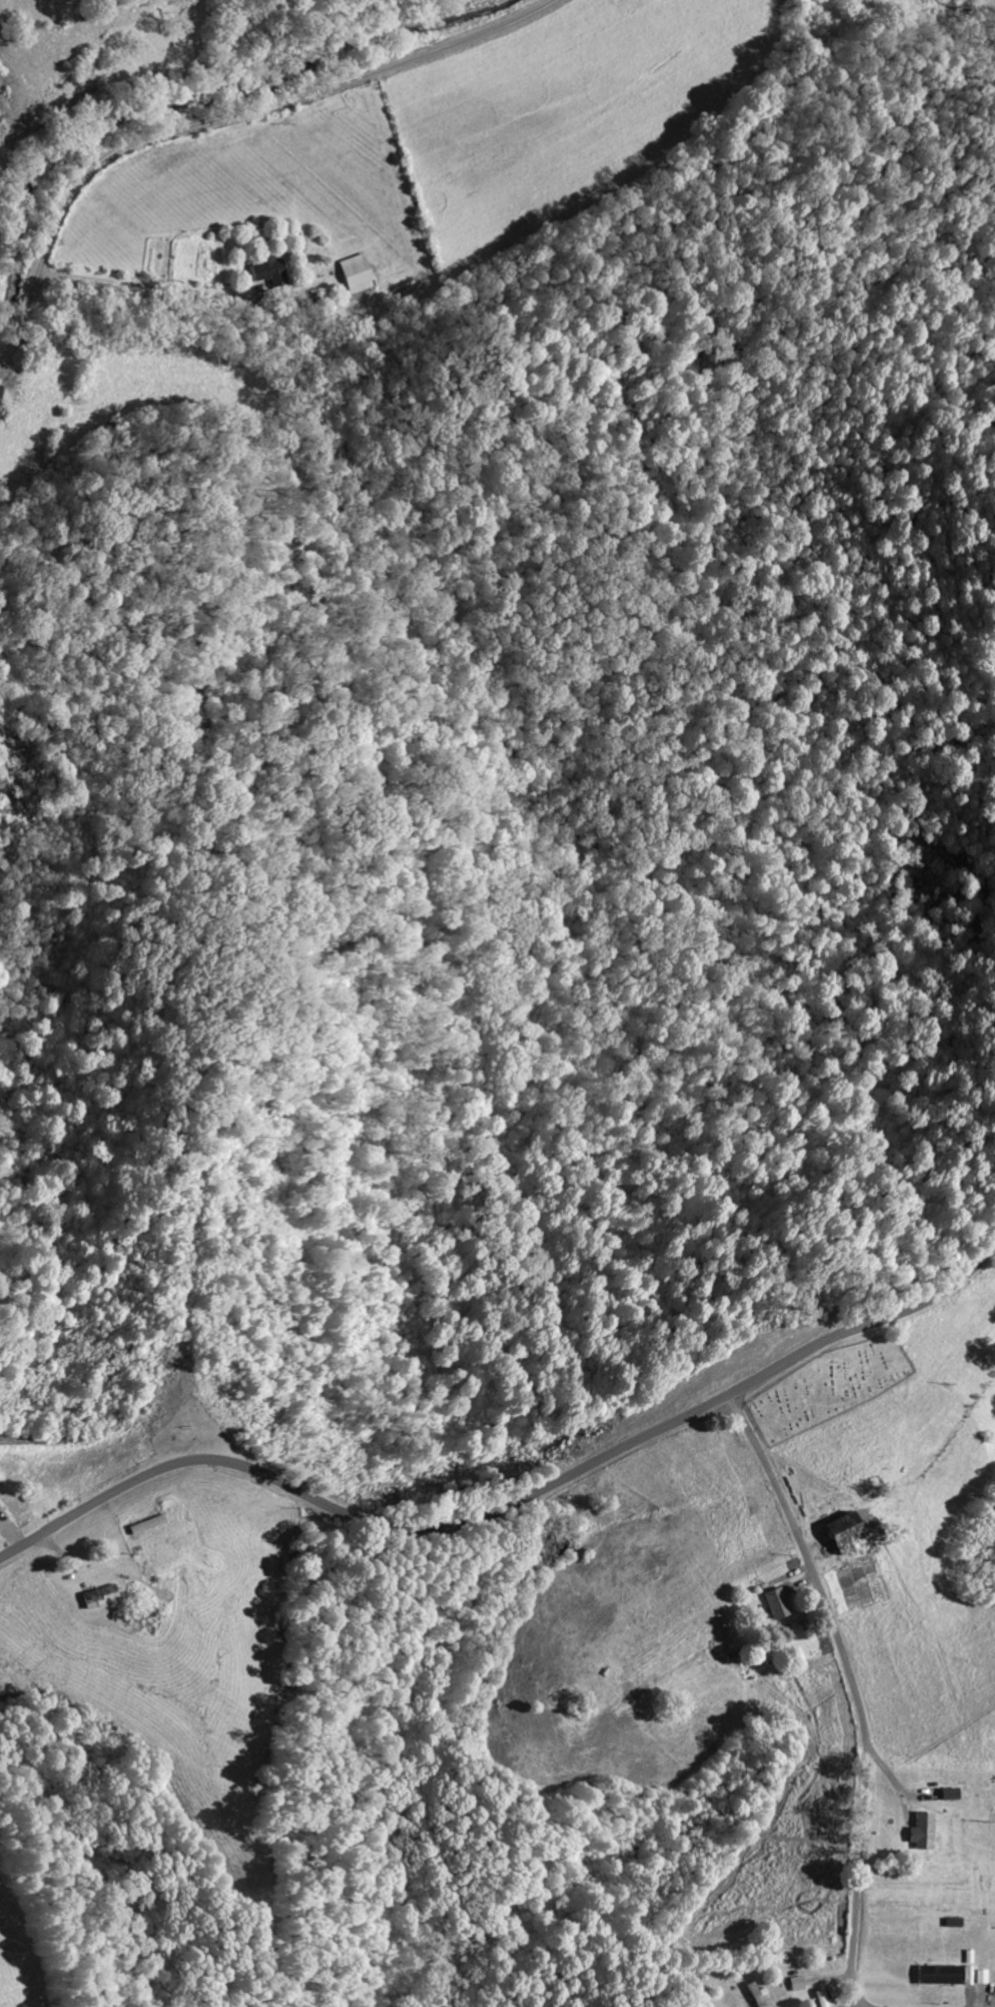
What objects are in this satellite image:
road: (222, 120)
building: (270, 272)
road: (242, 348)
park: (826, 1387)
road: (509, 1509)
building: (99, 1597)
building: (778, 1604)
road: (853, 1693)
building: (951, 1795)
building: (924, 1831)
building: (940, 1975)
building: (753, 1996)
road: (856, 2002)

